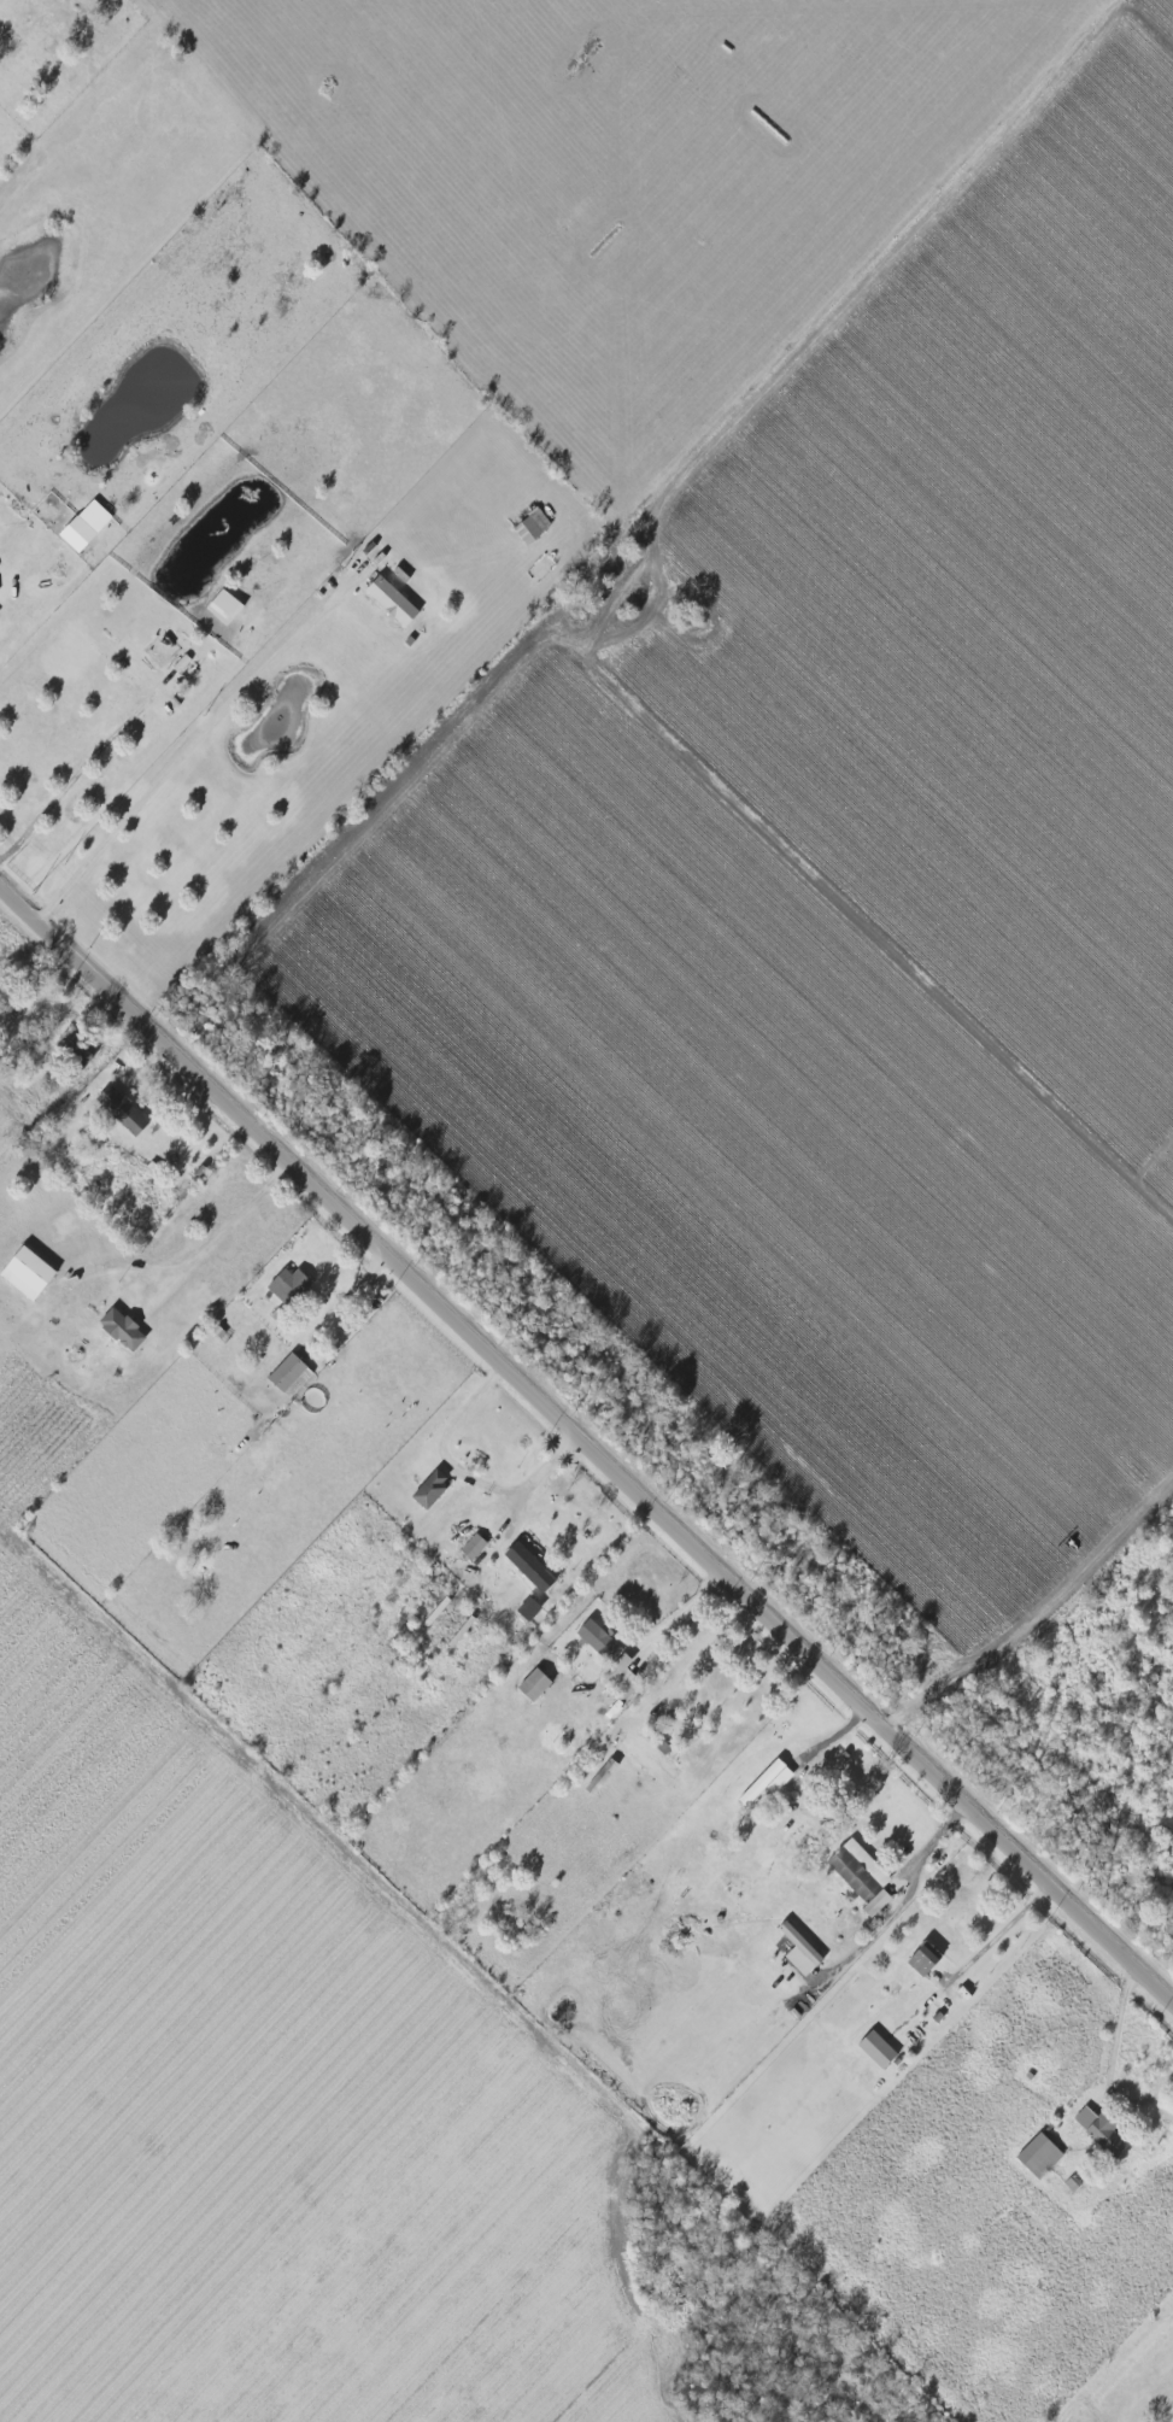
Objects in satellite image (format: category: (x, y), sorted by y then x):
building: (527, 526)
building: (81, 534)
building: (394, 602)
road: (186, 752)
road: (78, 772)
building: (78, 1042)
road: (325, 1044)
building: (125, 1110)
road: (233, 1214)
building: (31, 1274)
building: (292, 1286)
building: (125, 1329)
building: (293, 1376)
road: (587, 1439)
road: (467, 1472)
building: (433, 1490)
building: (475, 1547)
building: (533, 1567)
building: (532, 1608)
road: (706, 1650)
building: (606, 1659)
building: (529, 1684)
building: (756, 1782)
building: (857, 1875)
road: (987, 1940)
building: (794, 1942)
building: (920, 1959)
building: (872, 2049)
building: (1097, 2133)
building: (1034, 2156)

